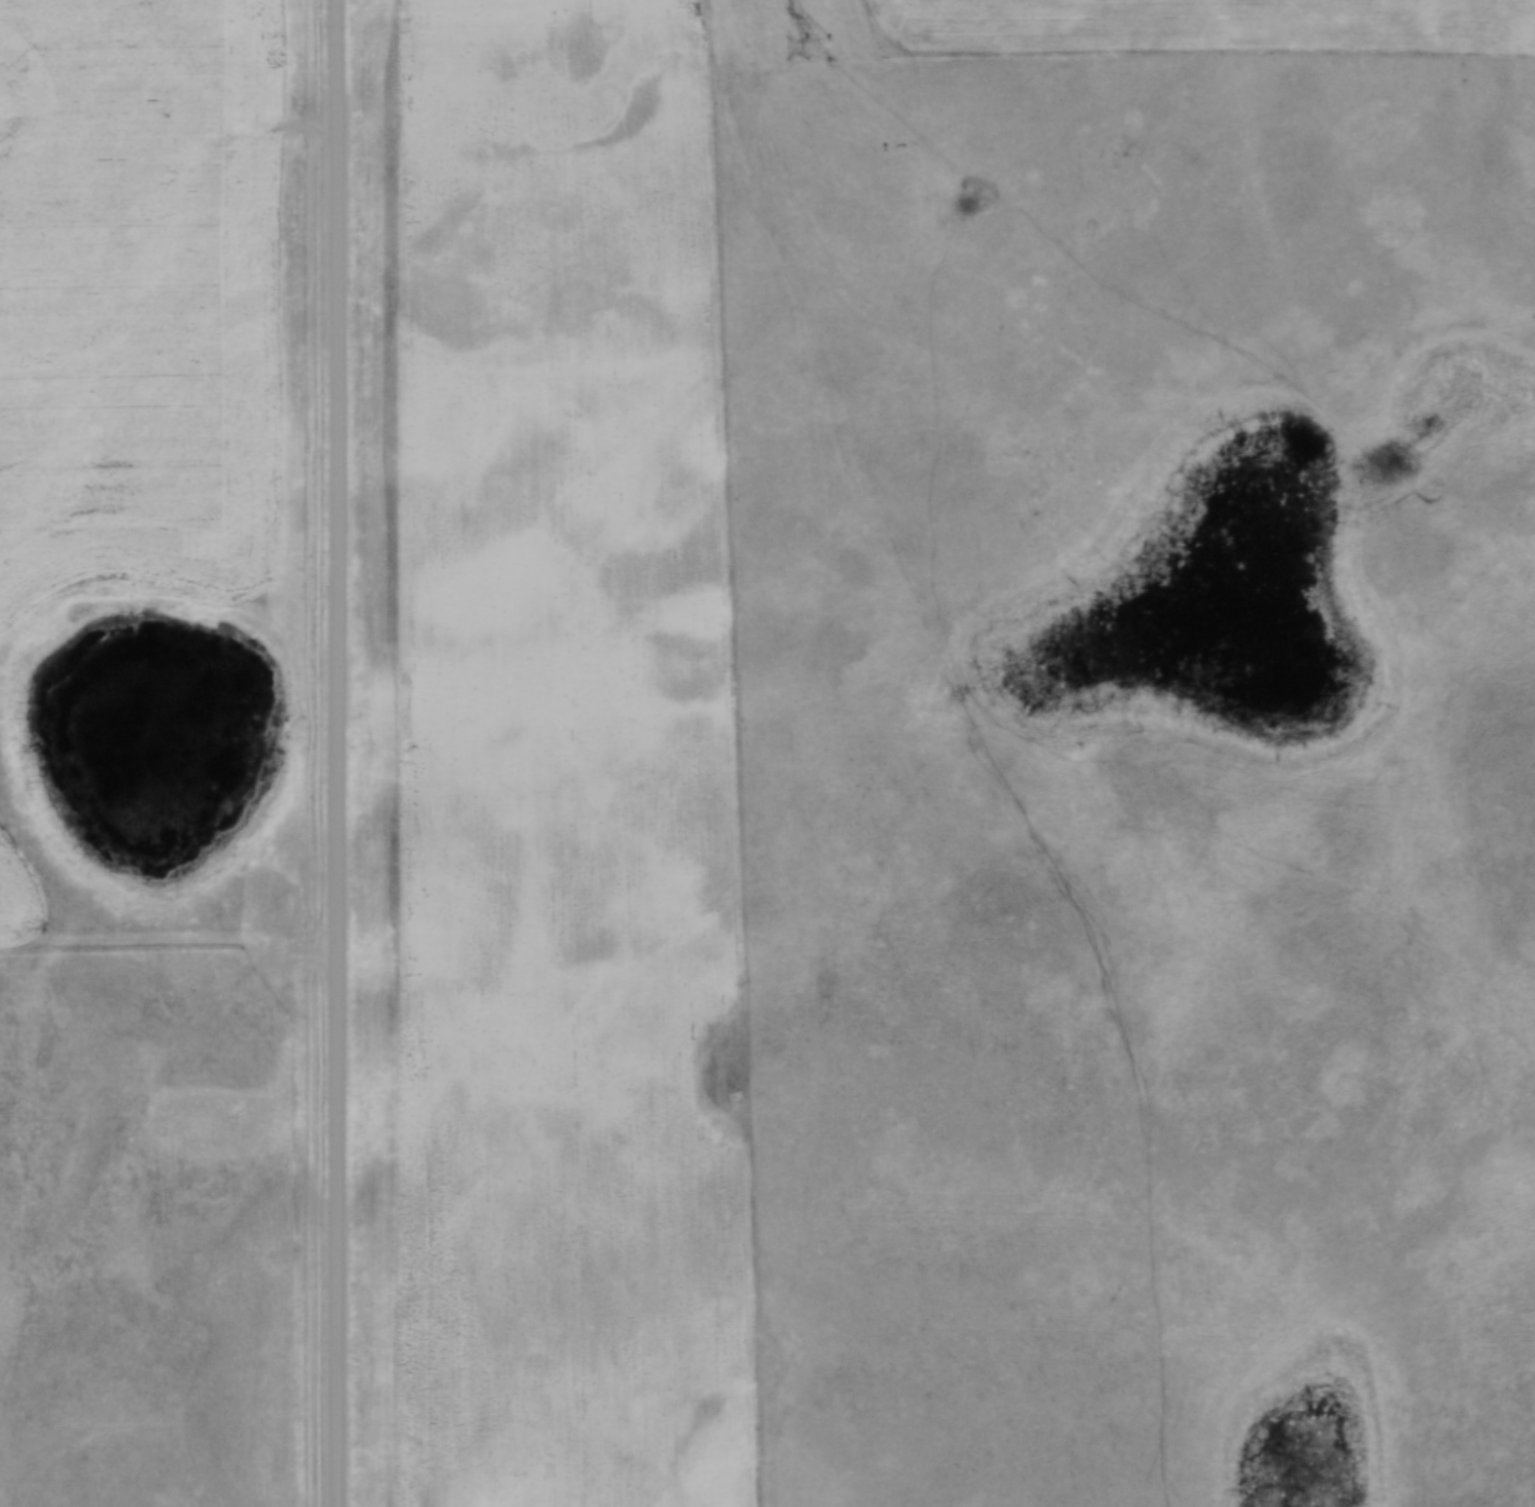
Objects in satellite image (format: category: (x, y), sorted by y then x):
power tower: (825, 47)
road: (339, 753)

